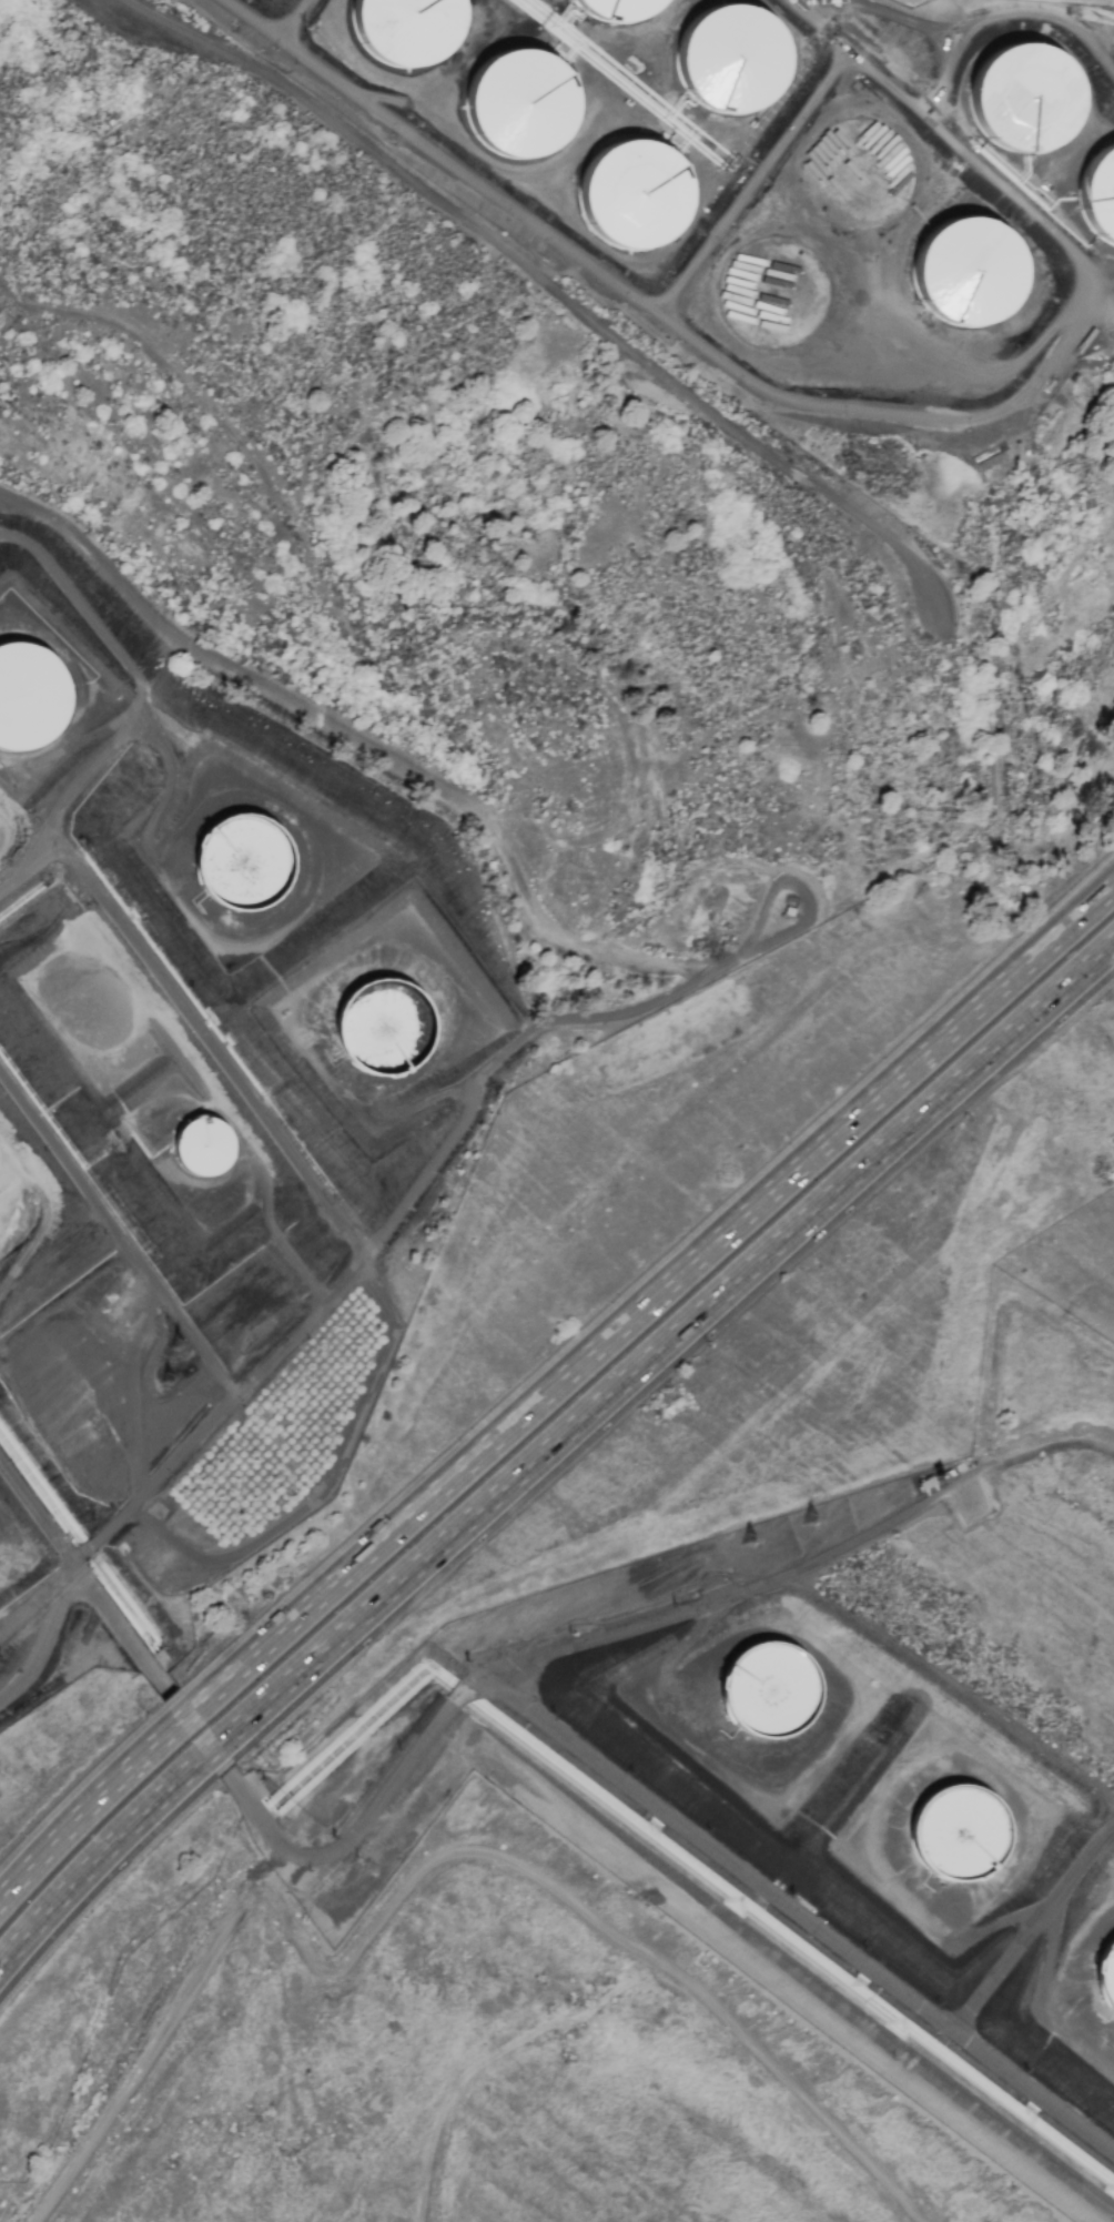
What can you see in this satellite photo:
building: (617, 10)
storage tank: (617, 10)
road: (294, 19)
building: (408, 30)
storage tank: (408, 30)
building: (733, 62)
storage tank: (733, 62)
building: (1027, 101)
storage tank: (1027, 101)
building: (523, 107)
storage tank: (523, 107)
building: (862, 179)
storage tank: (862, 179)
road: (757, 184)
building: (636, 198)
storage tank: (636, 198)
building: (1102, 198)
storage tank: (1102, 198)
building: (969, 275)
storage tank: (969, 275)
road: (545, 283)
building: (776, 296)
storage tank: (776, 296)
road: (837, 407)
building: (28, 709)
storage tank: (28, 709)
building: (261, 857)
storage tank: (261, 857)
road: (30, 862)
road: (639, 916)
road: (651, 960)
building: (383, 1039)
storage tank: (383, 1039)
road: (243, 1085)
building: (207, 1155)
storage tank: (207, 1155)
road: (118, 1235)
road: (662, 1297)
road: (668, 1342)
power tower: (178, 1345)
power tower: (168, 1377)
road: (222, 1410)
power tower: (812, 1523)
road: (880, 1533)
power tower: (750, 1544)
road: (43, 1637)
road: (493, 1689)
building: (769, 1694)
storage tank: (769, 1694)
road: (198, 1724)
road: (214, 1748)
road: (91, 1822)
building: (962, 1845)
storage tank: (962, 1845)
road: (100, 1856)
road: (585, 1911)
road: (1033, 1929)
building: (1106, 1984)
storage tank: (1106, 1984)
road: (150, 2032)

